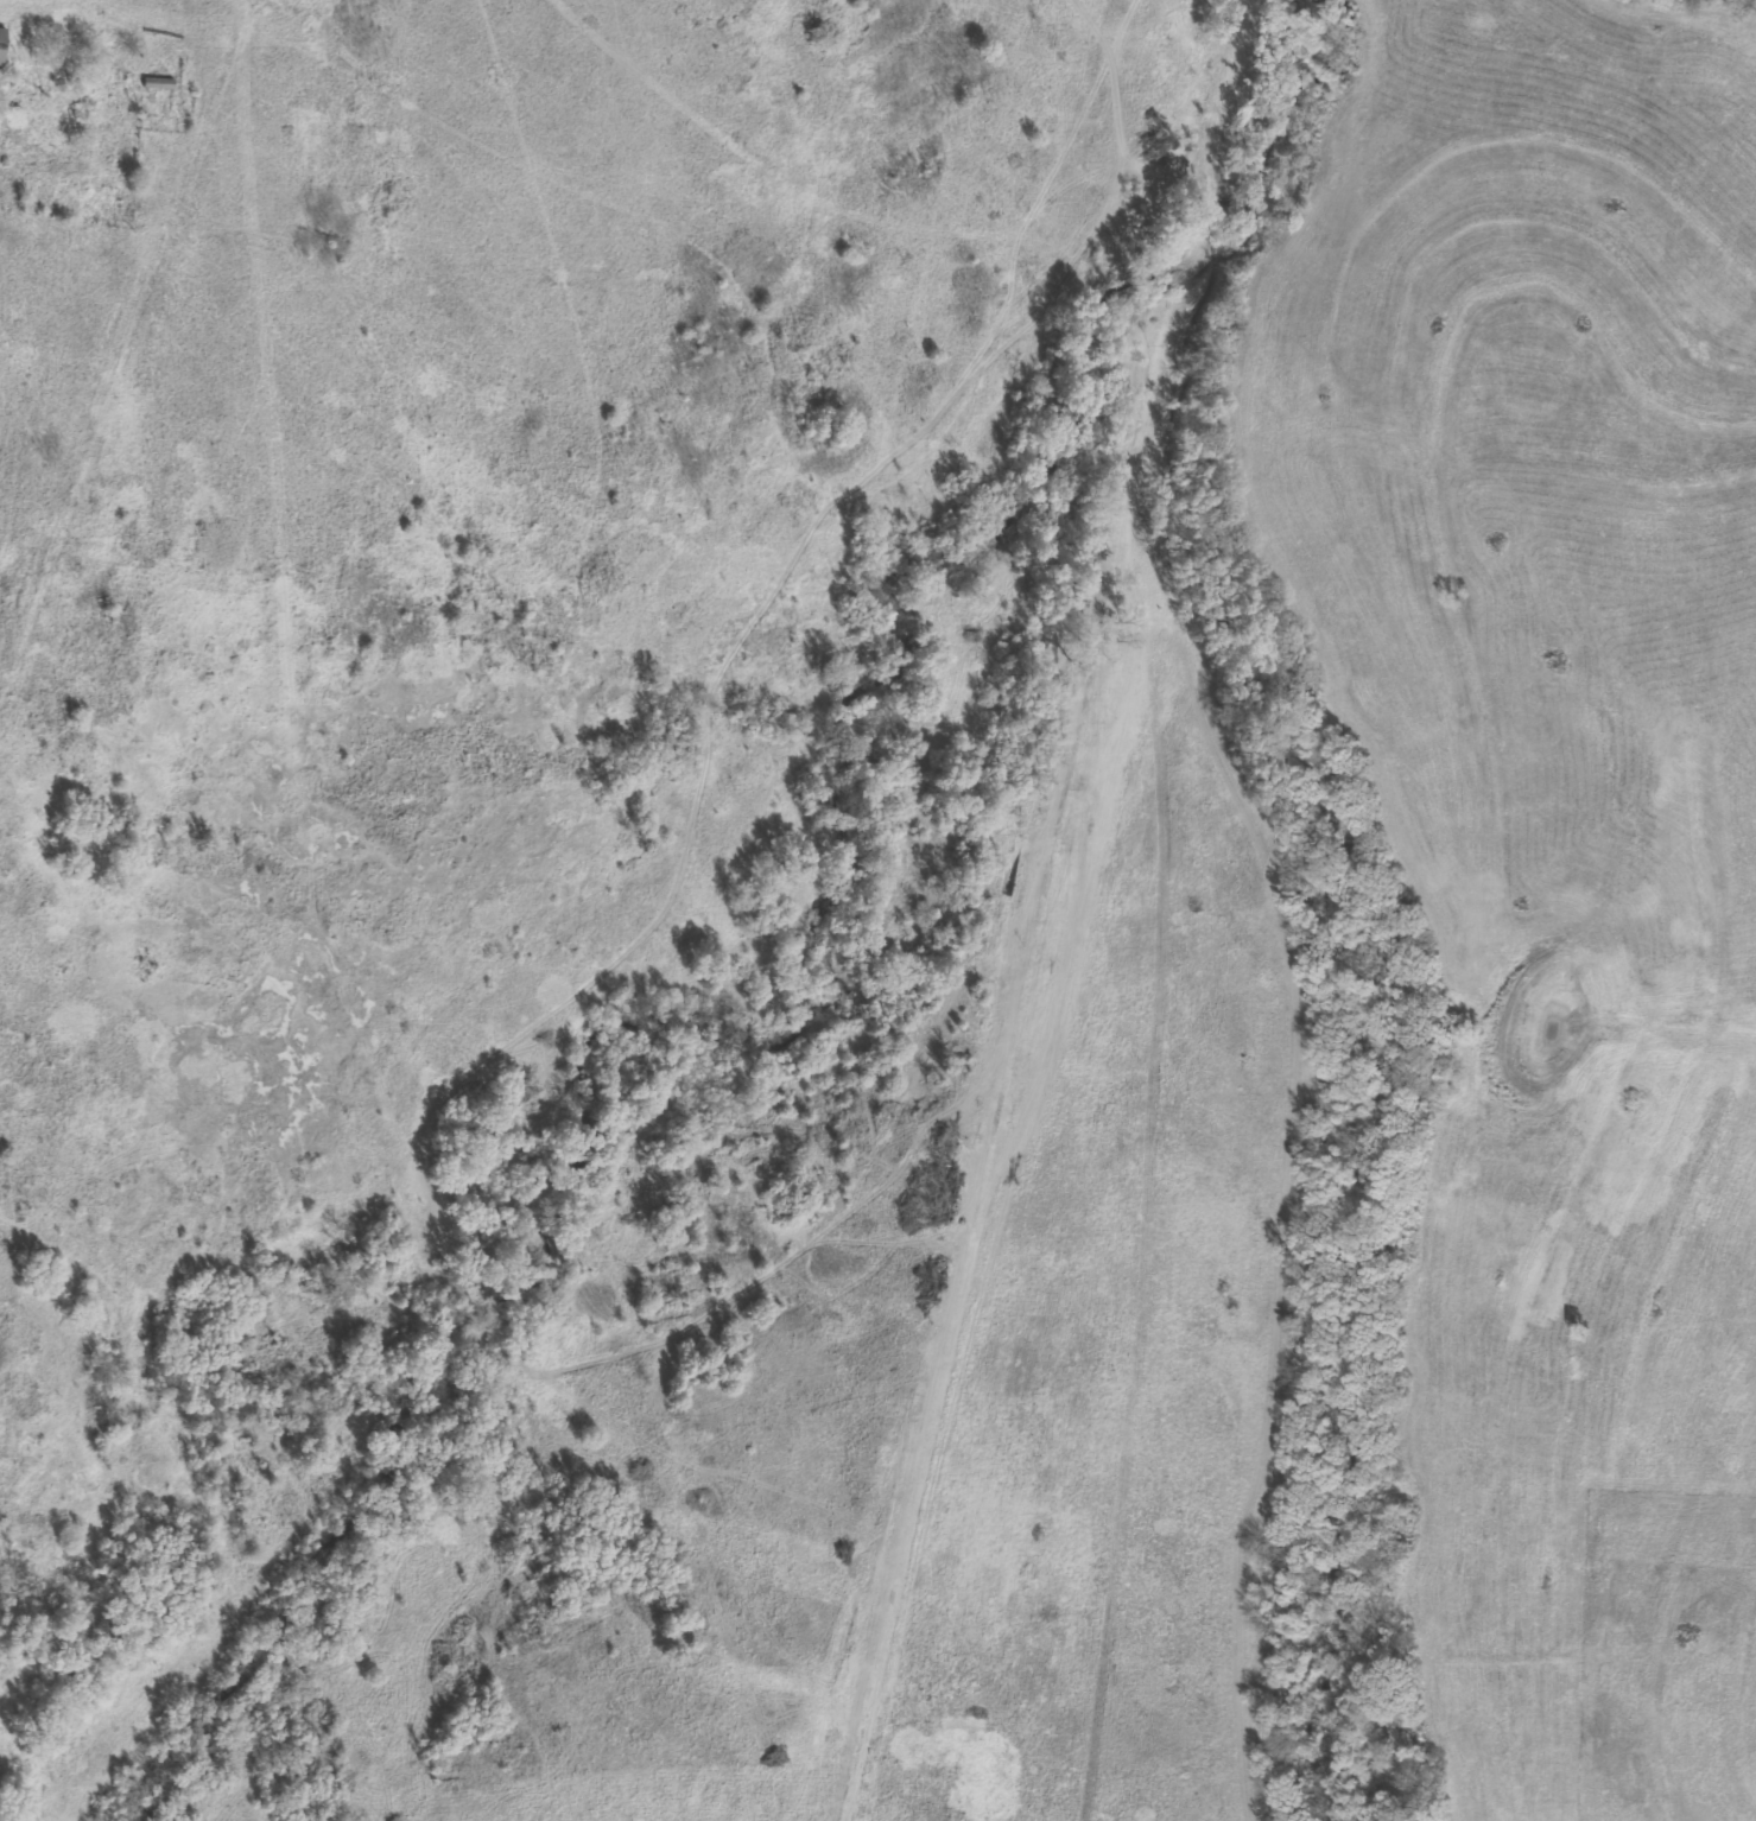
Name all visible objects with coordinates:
building: (1, 45)
building: (157, 82)

